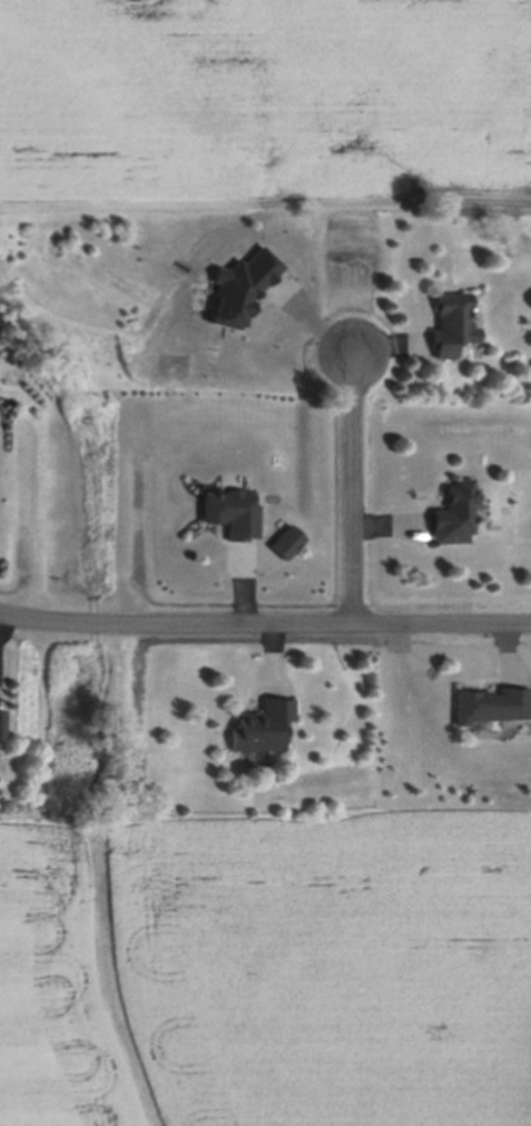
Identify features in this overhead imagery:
building: (451, 327)
road: (360, 485)
building: (232, 515)
building: (453, 516)
building: (239, 573)
road: (264, 620)
building: (490, 709)
building: (1, 727)
building: (262, 729)

